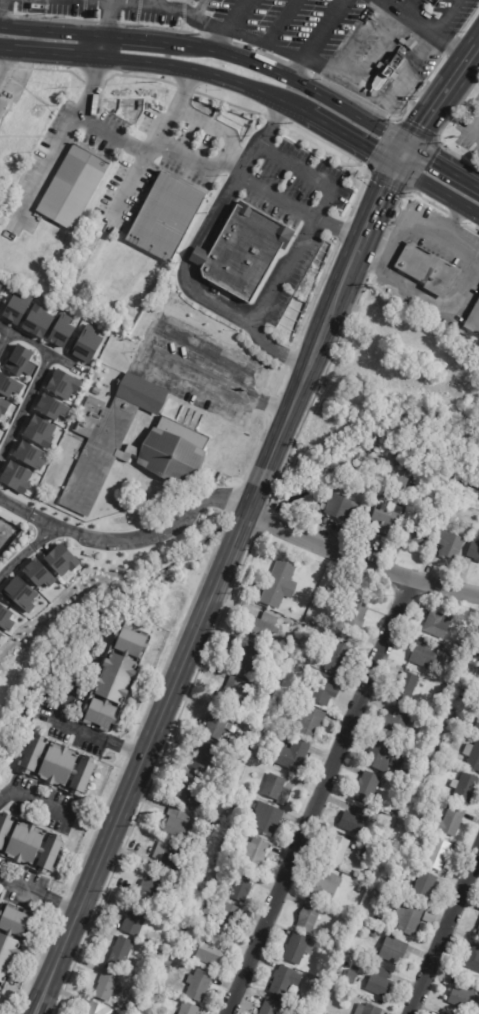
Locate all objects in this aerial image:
road: (96, 1)
road: (411, 17)
road: (445, 17)
road: (110, 19)
road: (226, 24)
road: (316, 38)
road: (451, 46)
road: (478, 46)
road: (97, 48)
road: (214, 51)
road: (473, 53)
road: (6, 63)
road: (158, 64)
building: (393, 65)
road: (438, 101)
road: (474, 125)
traffic signals: (422, 126)
road: (349, 141)
road: (132, 143)
traffic signals: (368, 154)
road: (400, 155)
road: (198, 157)
traffic signals: (434, 158)
road: (439, 161)
road: (309, 175)
road: (474, 182)
traffic signals: (383, 185)
building: (72, 186)
road: (435, 191)
road: (286, 205)
building: (166, 216)
road: (370, 216)
road: (449, 221)
road: (417, 227)
road: (336, 232)
building: (244, 250)
road: (186, 264)
building: (428, 268)
building: (1, 284)
road: (422, 296)
building: (16, 308)
building: (473, 320)
building: (37, 321)
road: (3, 327)
building: (61, 331)
road: (22, 339)
building: (84, 344)
road: (278, 347)
road: (136, 358)
building: (19, 361)
road: (65, 364)
building: (62, 384)
building: (9, 385)
building: (96, 391)
road: (24, 405)
building: (3, 406)
building: (51, 407)
building: (39, 431)
building: (173, 445)
building: (28, 455)
building: (15, 477)
building: (391, 480)
building: (340, 506)
building: (472, 512)
building: (386, 518)
building: (414, 536)
road: (129, 539)
building: (450, 543)
building: (474, 550)
road: (27, 551)
building: (61, 560)
road: (361, 563)
building: (38, 573)
building: (280, 584)
building: (19, 594)
building: (356, 611)
building: (5, 618)
building: (438, 624)
building: (264, 626)
building: (0, 634)
road: (194, 642)
building: (0, 644)
building: (424, 655)
building: (249, 658)
building: (338, 658)
building: (116, 677)
building: (272, 678)
building: (406, 687)
building: (325, 690)
building: (235, 691)
building: (260, 715)
building: (272, 719)
building: (398, 720)
building: (309, 721)
building: (219, 723)
road: (82, 730)
building: (247, 745)
building: (446, 752)
building: (259, 753)
building: (292, 753)
building: (378, 753)
building: (473, 755)
building: (204, 756)
building: (235, 756)
building: (58, 765)
building: (367, 786)
building: (275, 787)
building: (464, 788)
building: (191, 791)
road: (315, 796)
building: (240, 799)
road: (33, 801)
building: (266, 819)
building: (355, 820)
building: (451, 821)
building: (180, 824)
building: (215, 824)
building: (386, 824)
building: (210, 837)
building: (173, 842)
building: (29, 844)
building: (336, 851)
building: (254, 853)
building: (368, 853)
building: (439, 854)
building: (410, 855)
building: (169, 859)
building: (327, 886)
road: (22, 887)
building: (242, 887)
building: (425, 887)
building: (153, 888)
building: (360, 891)
road: (60, 904)
building: (361, 915)
building: (309, 917)
building: (431, 917)
building: (228, 919)
building: (409, 919)
building: (134, 920)
building: (375, 920)
road: (444, 929)
building: (478, 932)
building: (373, 933)
building: (335, 936)
building: (183, 944)
building: (9, 945)
building: (300, 950)
building: (394, 951)
building: (121, 953)
building: (211, 953)
building: (473, 958)
building: (167, 964)
building: (165, 972)
building: (284, 981)
building: (379, 982)
building: (108, 985)
building: (199, 985)
building: (0, 988)
building: (0, 996)
building: (465, 997)
building: (93, 1007)
building: (272, 1007)
building: (189, 1009)
building: (368, 1009)
building: (323, 1010)
building: (439, 1013)

